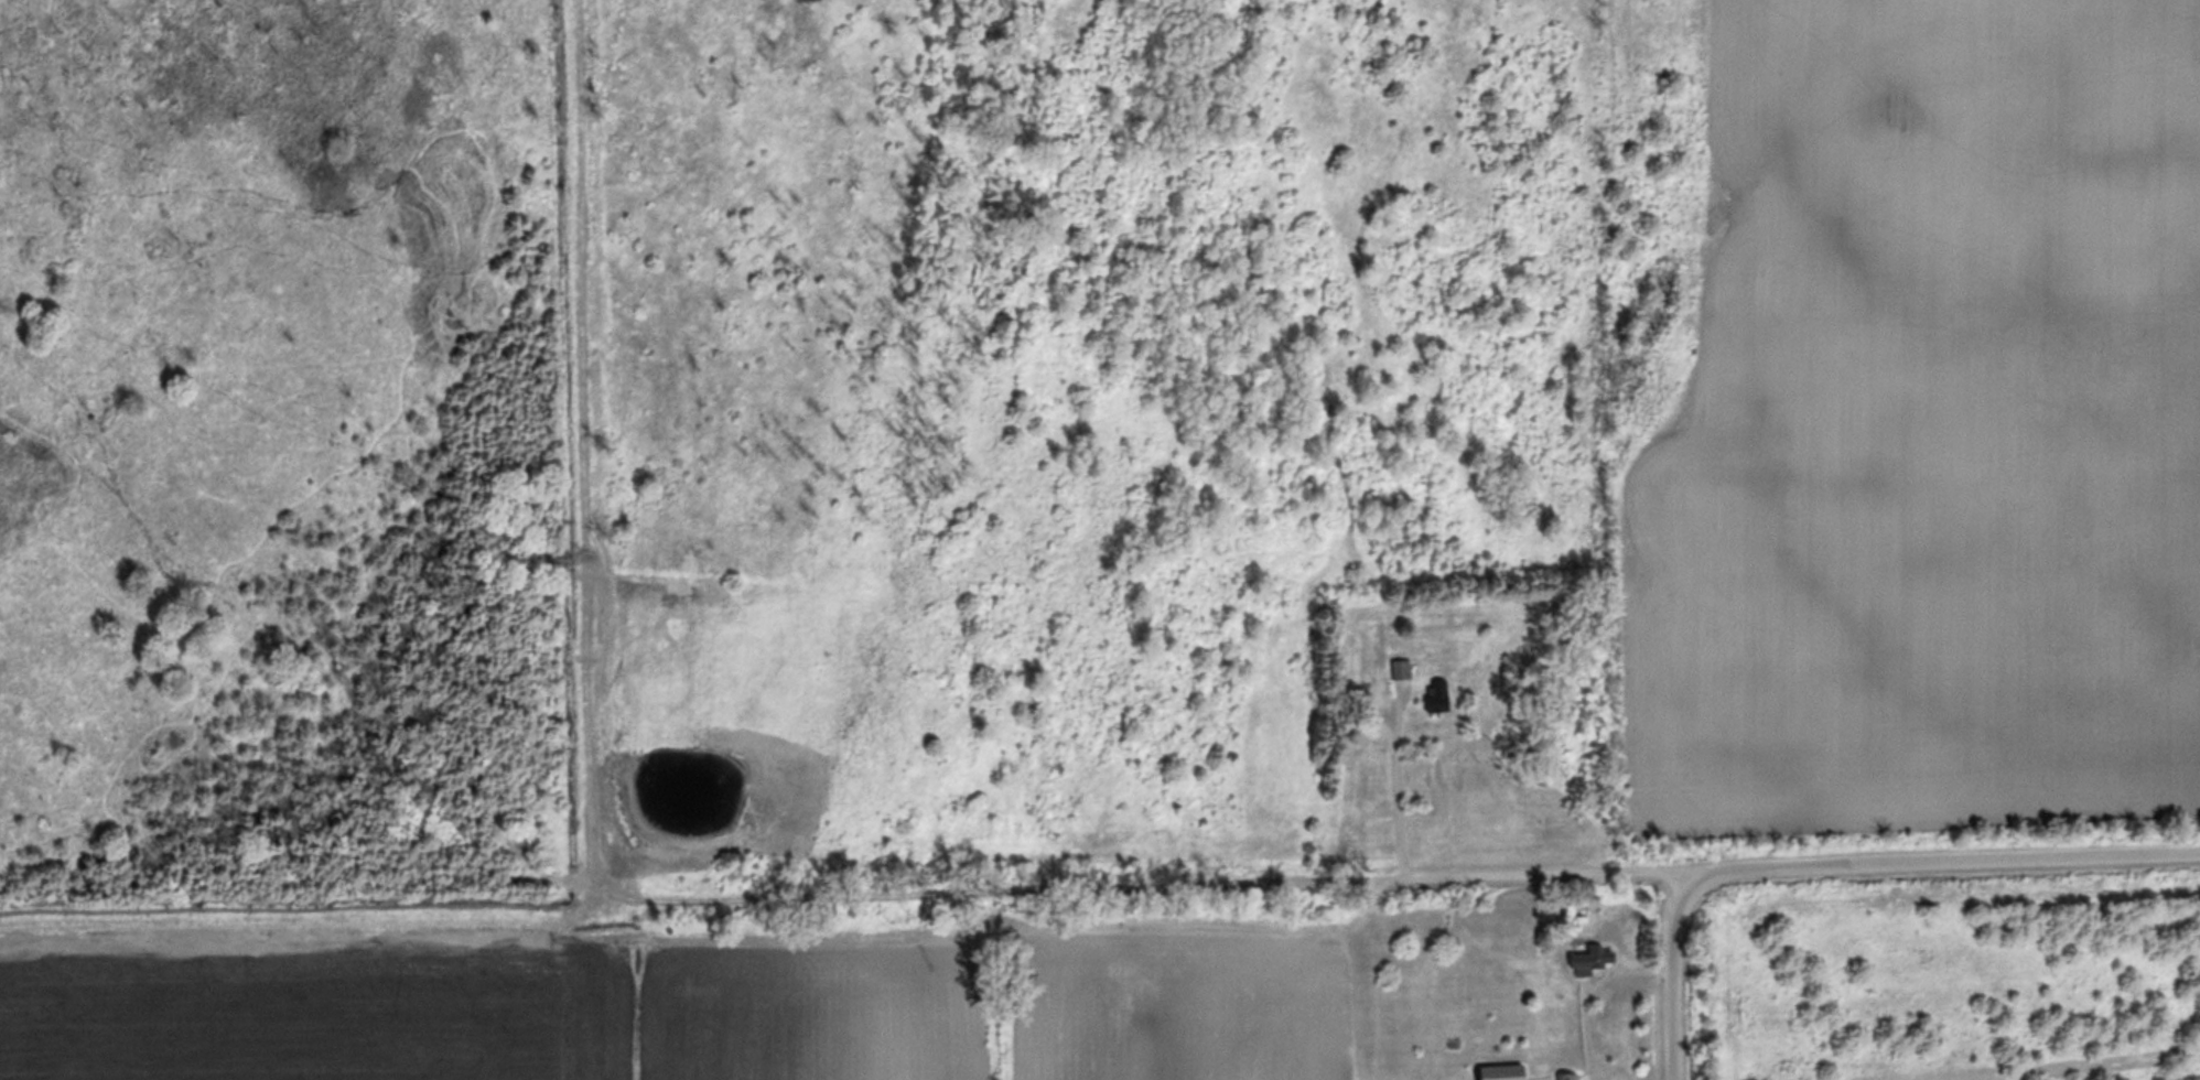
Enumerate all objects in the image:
building: (1399, 667)
building: (1436, 692)
road: (1802, 864)
building: (1587, 957)
road: (1675, 974)
road: (1581, 982)
building: (1500, 1070)
building: (1564, 1074)

